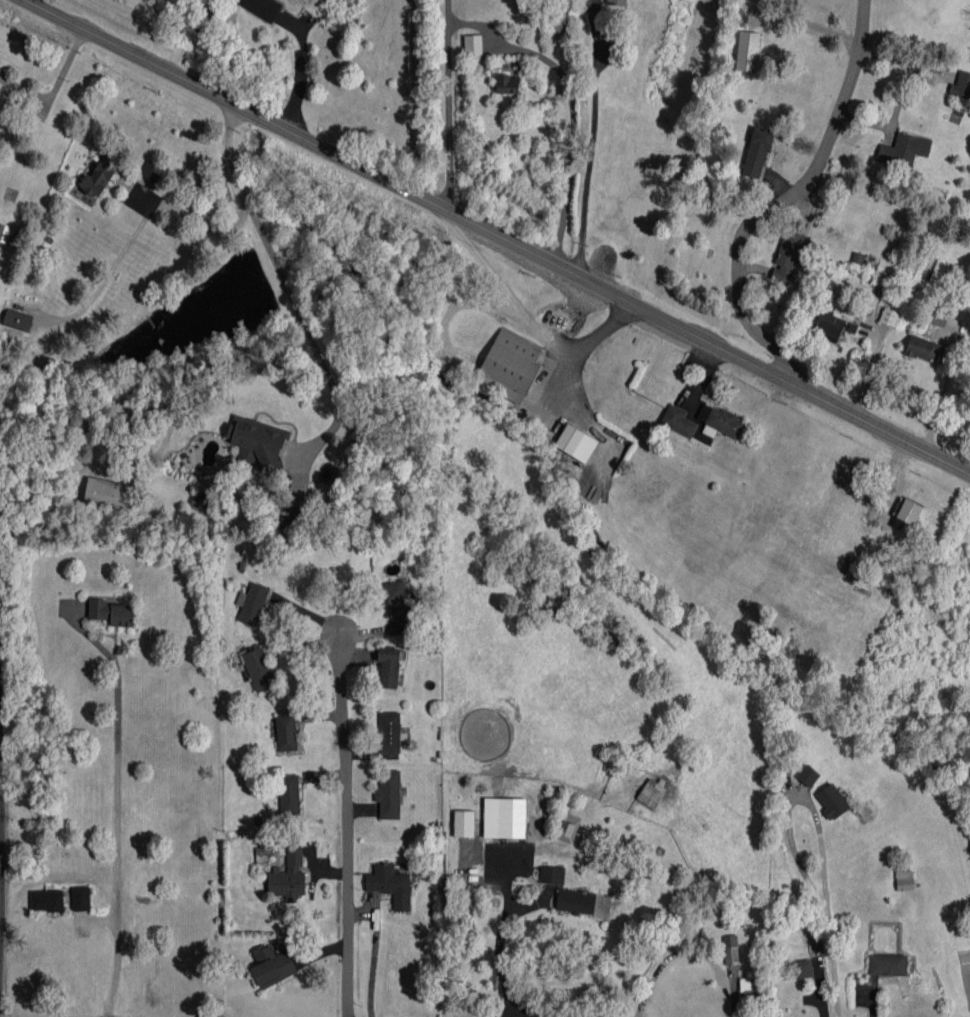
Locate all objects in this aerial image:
building: (617, 2)
building: (261, 7)
building: (473, 47)
building: (747, 51)
road: (300, 71)
building: (507, 83)
building: (961, 85)
road: (572, 101)
road: (445, 106)
road: (588, 141)
building: (904, 149)
building: (757, 152)
building: (152, 171)
building: (99, 176)
road: (781, 200)
road: (202, 224)
building: (4, 232)
road: (496, 235)
building: (787, 256)
road: (109, 271)
road: (288, 285)
road: (527, 316)
building: (889, 317)
building: (937, 317)
building: (18, 320)
building: (829, 326)
building: (923, 348)
building: (509, 366)
road: (943, 395)
building: (721, 420)
building: (678, 421)
building: (257, 442)
building: (576, 443)
building: (104, 493)
building: (907, 513)
building: (290, 517)
building: (0, 584)
building: (252, 603)
building: (398, 603)
building: (111, 612)
building: (0, 645)
building: (389, 666)
building: (259, 669)
building: (286, 732)
building: (389, 732)
building: (808, 775)
building: (289, 794)
building: (388, 794)
building: (651, 794)
road: (795, 797)
building: (832, 801)
road: (117, 806)
building: (504, 817)
road: (1, 819)
road: (347, 821)
building: (464, 823)
building: (569, 828)
building: (552, 874)
building: (289, 876)
building: (904, 880)
building: (390, 885)
building: (80, 898)
building: (46, 900)
building: (576, 901)
road: (495, 943)
building: (730, 949)
building: (888, 964)
building: (271, 965)
road: (833, 966)
building: (801, 968)
building: (751, 980)

